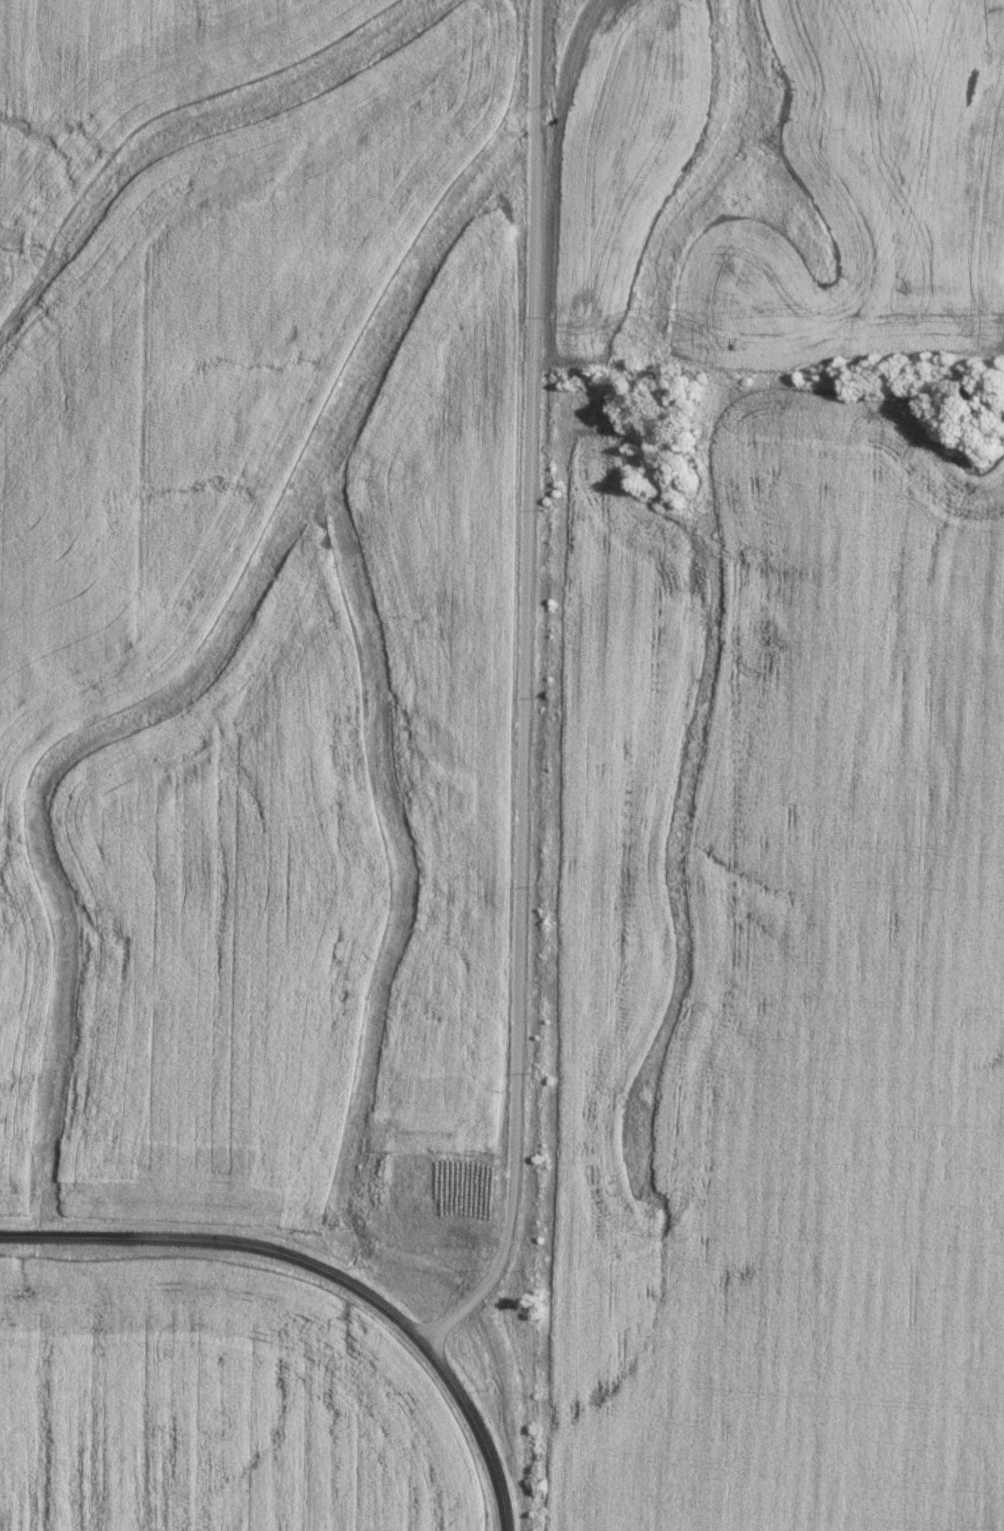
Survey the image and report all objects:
road: (524, 689)
road: (323, 1272)

